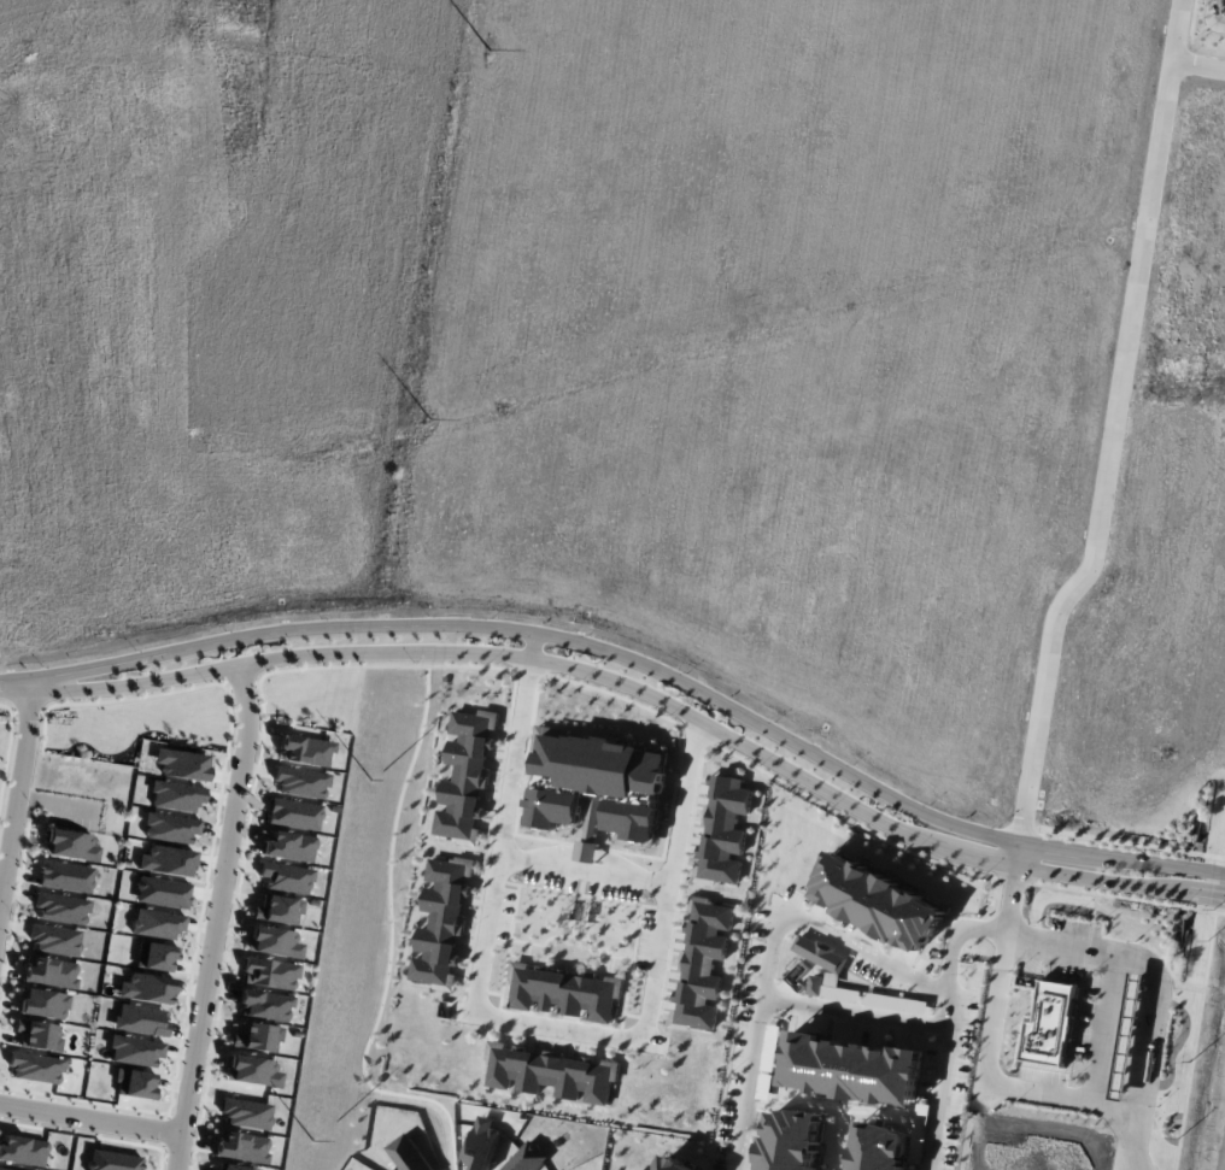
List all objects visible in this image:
road: (1211, 16)
road: (1176, 30)
power tower: (486, 64)
road: (1198, 64)
road: (346, 183)
road: (281, 195)
road: (8, 237)
road: (139, 335)
power tower: (428, 421)
road: (1110, 448)
road: (158, 540)
road: (480, 651)
road: (105, 664)
road: (539, 674)
road: (14, 676)
road: (14, 692)
road: (713, 698)
road: (10, 710)
road: (29, 715)
building: (306, 749)
building: (182, 764)
building: (464, 776)
building: (594, 781)
building: (301, 782)
power tower: (370, 782)
road: (18, 788)
building: (175, 795)
building: (593, 811)
building: (294, 813)
building: (170, 828)
building: (723, 830)
road: (1021, 834)
road: (1123, 841)
building: (71, 845)
building: (289, 846)
road: (954, 852)
road: (1224, 852)
building: (166, 860)
road: (585, 866)
road: (1077, 875)
building: (286, 877)
road: (1182, 888)
building: (162, 892)
road: (1119, 896)
building: (877, 903)
building: (61, 907)
building: (277, 910)
road: (213, 917)
building: (441, 922)
building: (157, 924)
road: (951, 934)
building: (54, 940)
building: (274, 942)
building: (820, 953)
road: (871, 956)
building: (156, 957)
building: (702, 964)
road: (1112, 971)
building: (52, 972)
building: (269, 974)
road: (998, 974)
building: (815, 984)
road: (1179, 987)
building: (146, 988)
building: (563, 992)
building: (42, 1004)
building: (264, 1005)
road: (850, 1013)
road: (1149, 1016)
building: (140, 1019)
road: (528, 1019)
building: (1050, 1022)
road: (751, 1029)
building: (1129, 1034)
gas station: (1129, 1034)
building: (39, 1035)
building: (257, 1037)
road: (1195, 1041)
building: (135, 1051)
building: (35, 1068)
building: (852, 1069)
building: (253, 1071)
building: (551, 1072)
road: (939, 1080)
building: (135, 1083)
road: (1057, 1094)
building: (246, 1113)
road: (88, 1115)
road: (1131, 1137)
building: (790, 1140)
power tower: (313, 1142)
building: (240, 1147)
building: (878, 1147)
building: (23, 1151)
building: (112, 1160)
building: (673, 1164)
building: (236, 1168)
building: (4, 1169)

